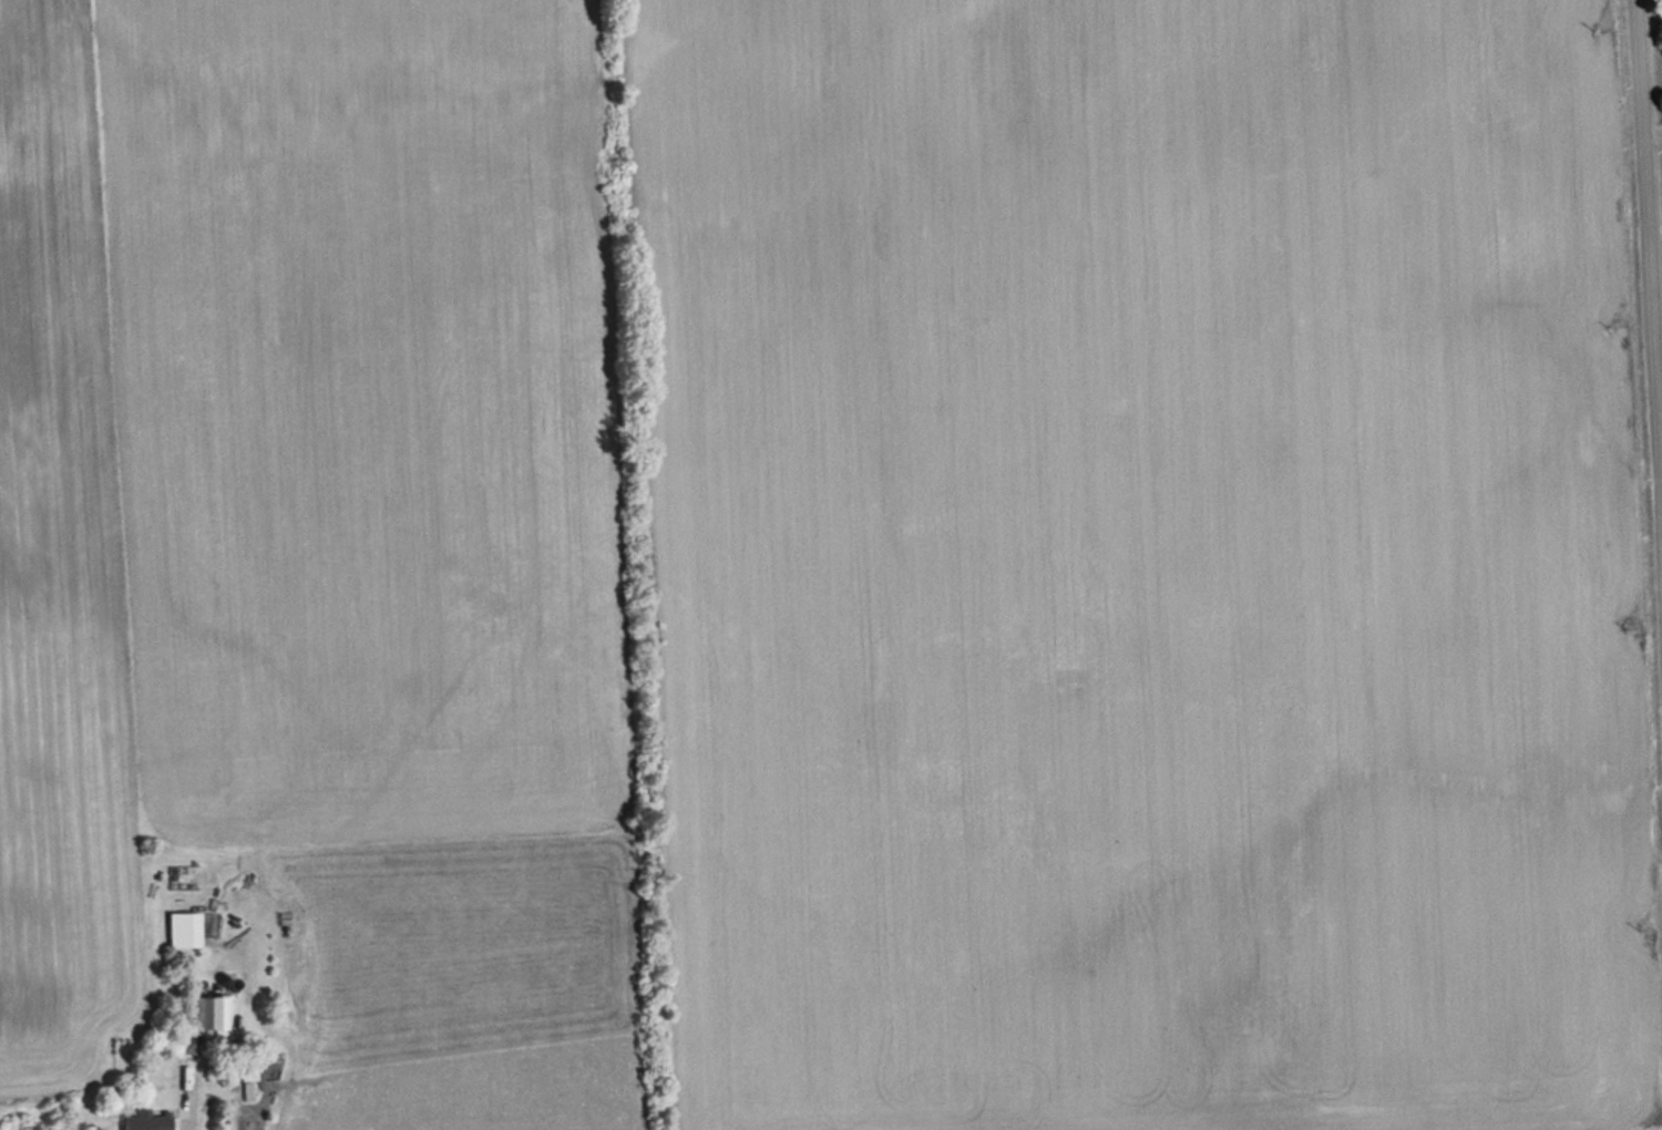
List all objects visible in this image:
road: (1644, 378)
building: (185, 929)
building: (211, 1013)
building: (148, 1121)

